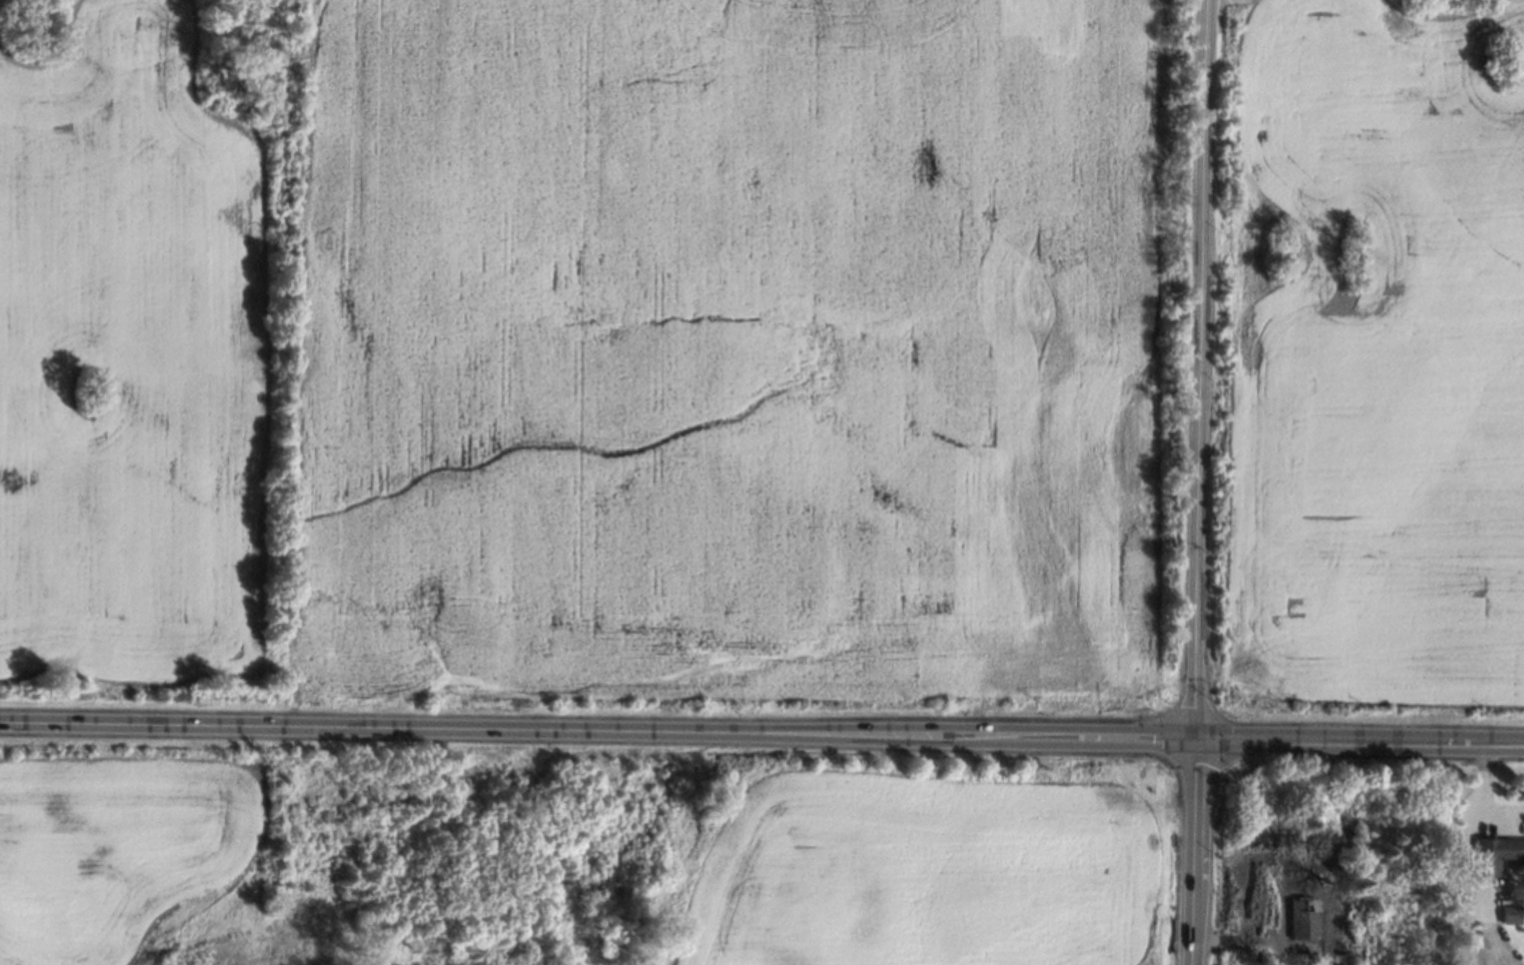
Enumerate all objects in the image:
crop: (1380, 341)
crop: (737, 347)
crop: (124, 366)
road: (1201, 482)
road: (597, 732)
traffic signals: (1196, 740)
road: (1360, 742)
crop: (119, 854)
building: (1497, 854)
crop: (927, 875)
building: (1511, 916)
road: (1249, 942)

